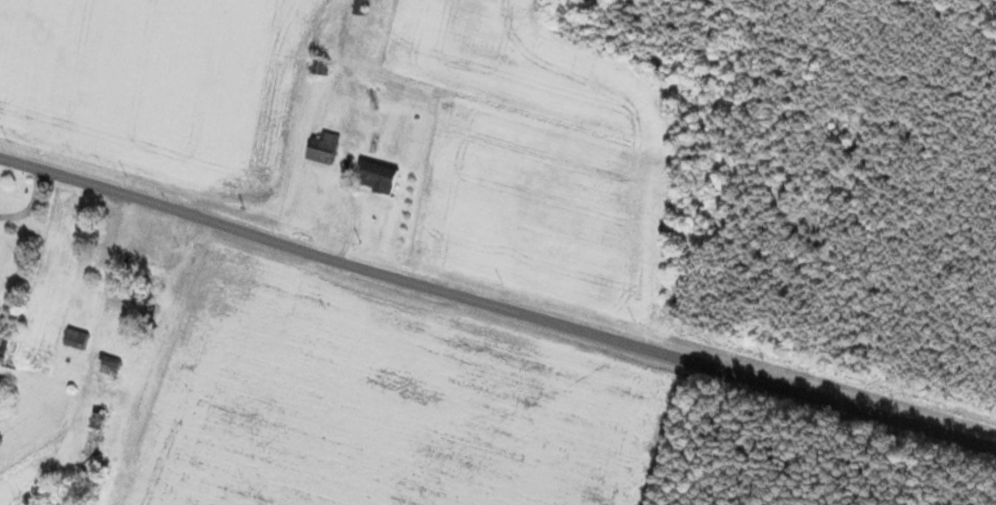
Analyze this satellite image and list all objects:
building: (359, 7)
building: (323, 148)
building: (377, 177)
road: (497, 309)
building: (76, 339)
building: (110, 364)

